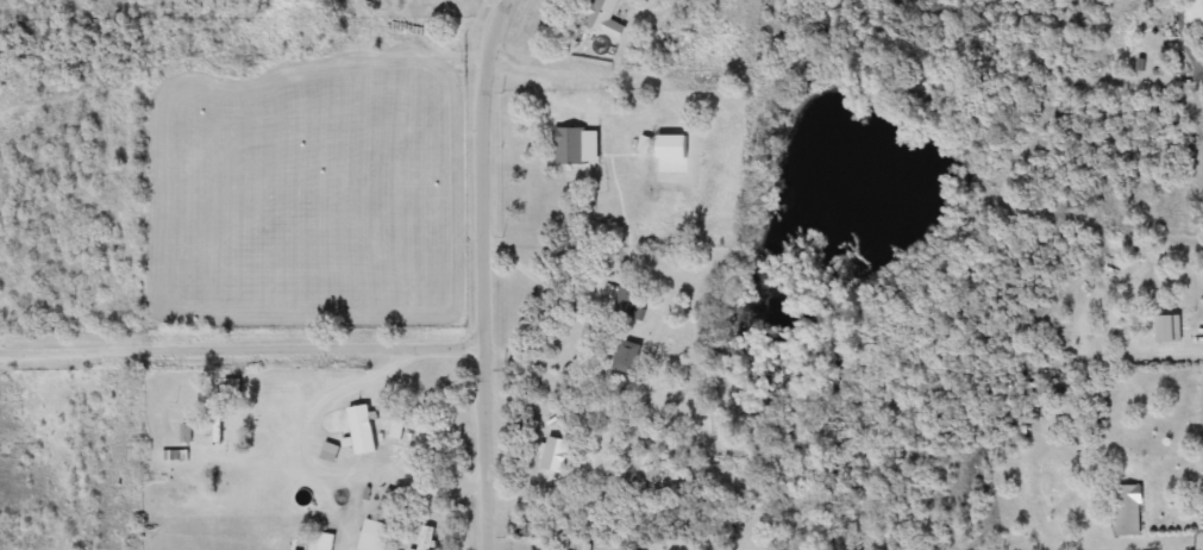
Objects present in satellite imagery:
building: (1195, 15)
building: (607, 19)
road: (431, 43)
road: (1191, 57)
building: (574, 146)
road: (484, 273)
building: (627, 299)
road: (579, 312)
road: (242, 337)
building: (627, 356)
road: (356, 371)
building: (233, 386)
building: (221, 429)
building: (364, 430)
road: (540, 444)
building: (332, 452)
building: (556, 455)
building: (1130, 511)
building: (375, 536)
building: (427, 538)
building: (322, 540)

